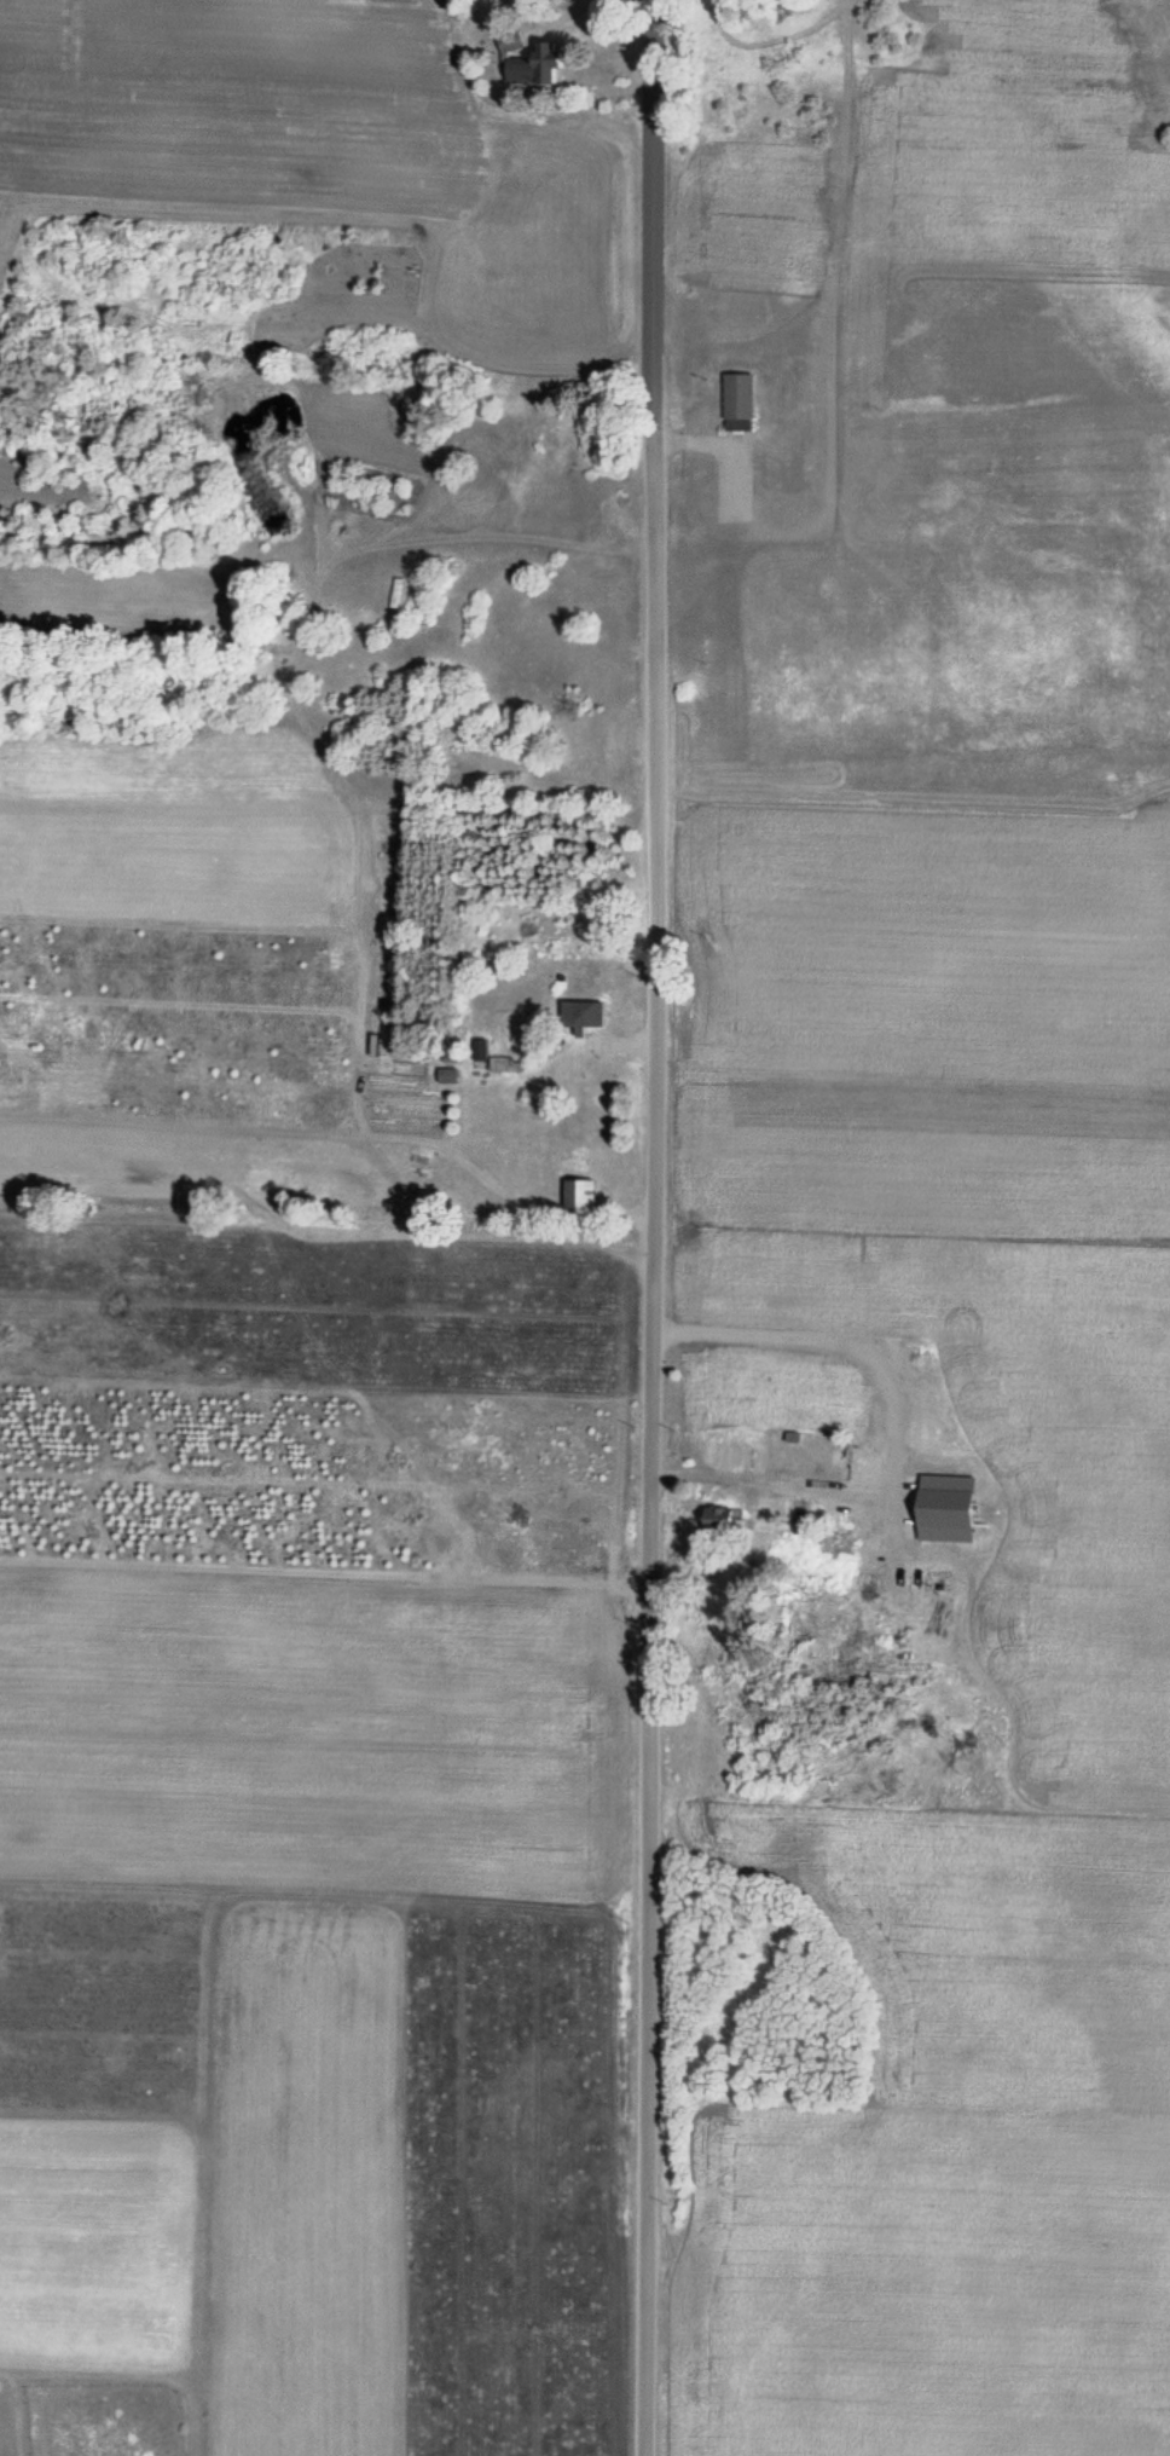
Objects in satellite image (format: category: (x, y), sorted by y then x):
building: (537, 65)
building: (739, 403)
building: (579, 1017)
building: (477, 1048)
building: (503, 1064)
building: (445, 1075)
building: (578, 1192)
road: (650, 1227)
building: (723, 1520)

